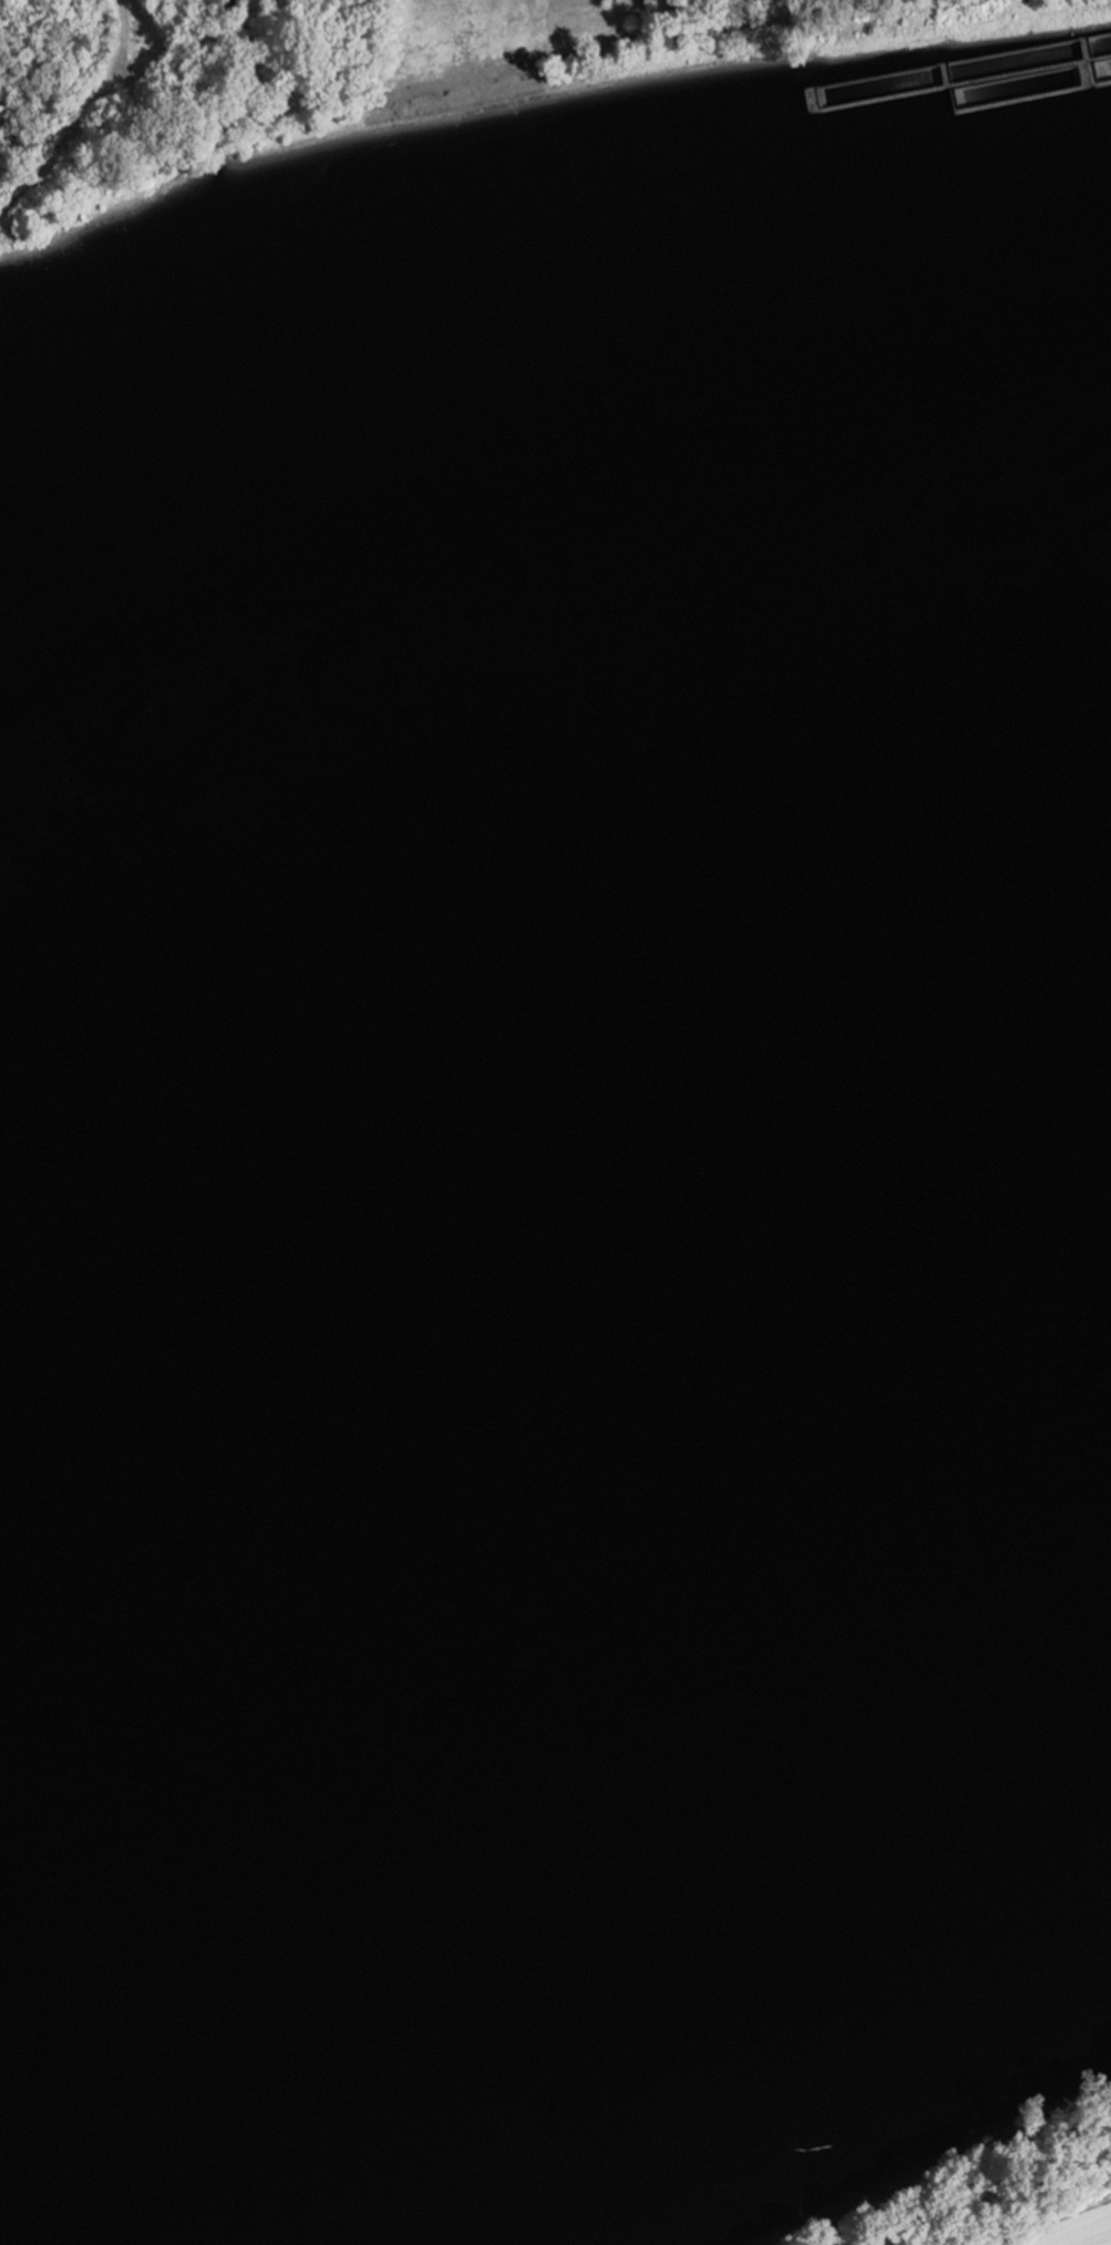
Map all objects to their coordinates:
road: (124, 69)
road: (86, 119)
river: (552, 1185)

